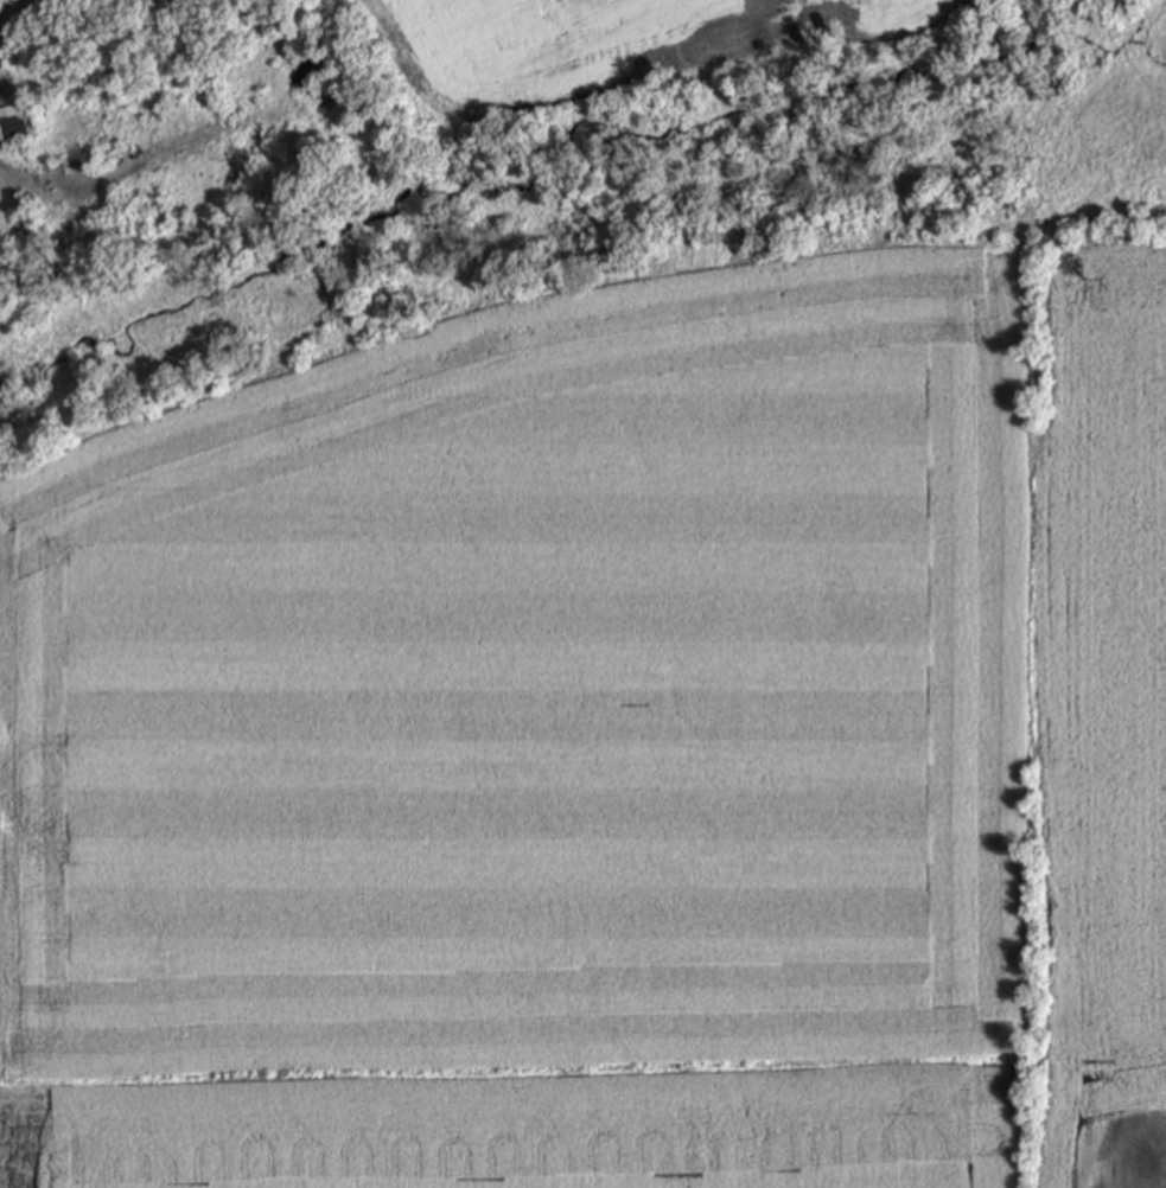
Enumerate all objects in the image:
building: (17, 124)

